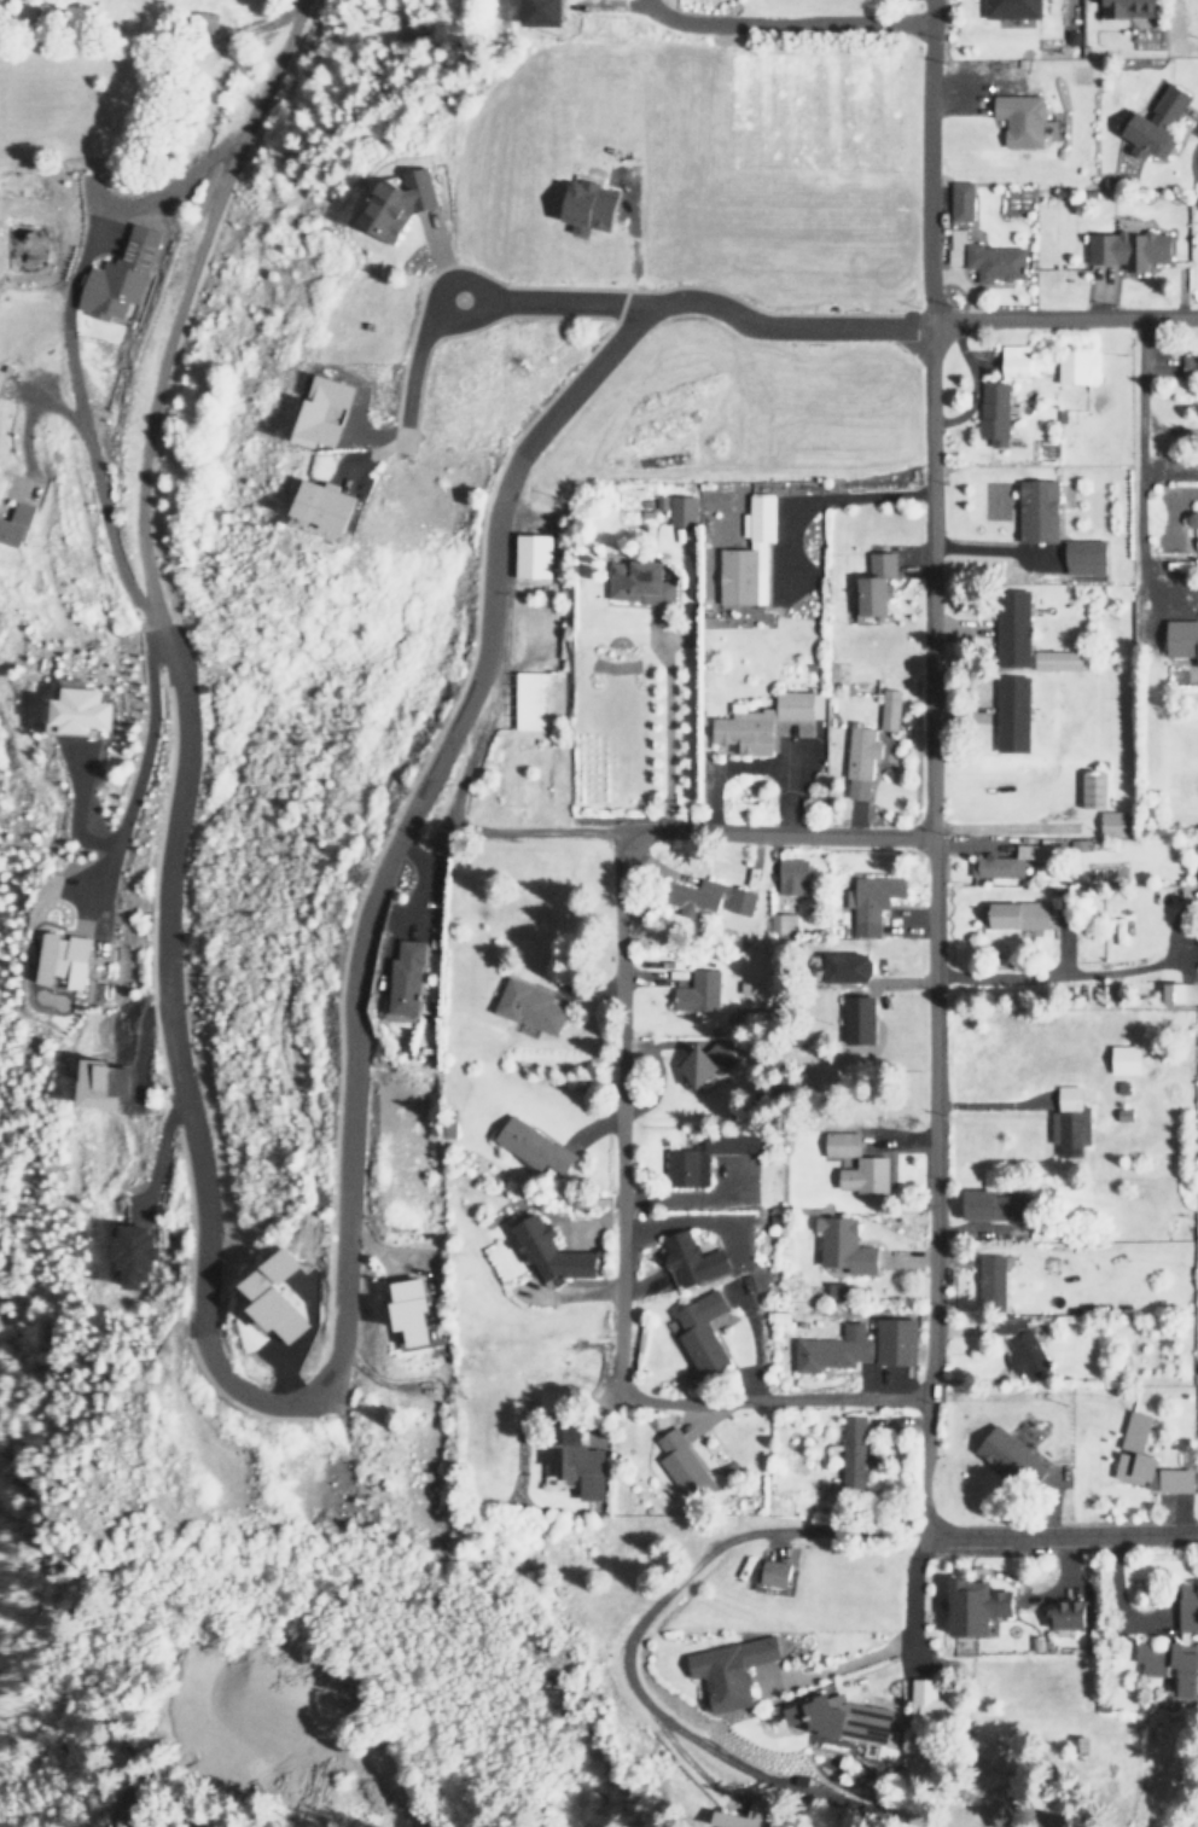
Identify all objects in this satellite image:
road: (781, 23)
road: (94, 194)
road: (455, 278)
road: (560, 302)
road: (1063, 319)
road: (781, 325)
road: (68, 339)
road: (413, 362)
road: (28, 406)
road: (1136, 464)
road: (136, 774)
road: (227, 798)
road: (75, 802)
road: (627, 831)
road: (932, 834)
road: (421, 873)
road: (1053, 978)
road: (618, 1110)
road: (159, 1151)
road: (200, 1308)
road: (774, 1396)
road: (1058, 1531)
road: (626, 1664)

